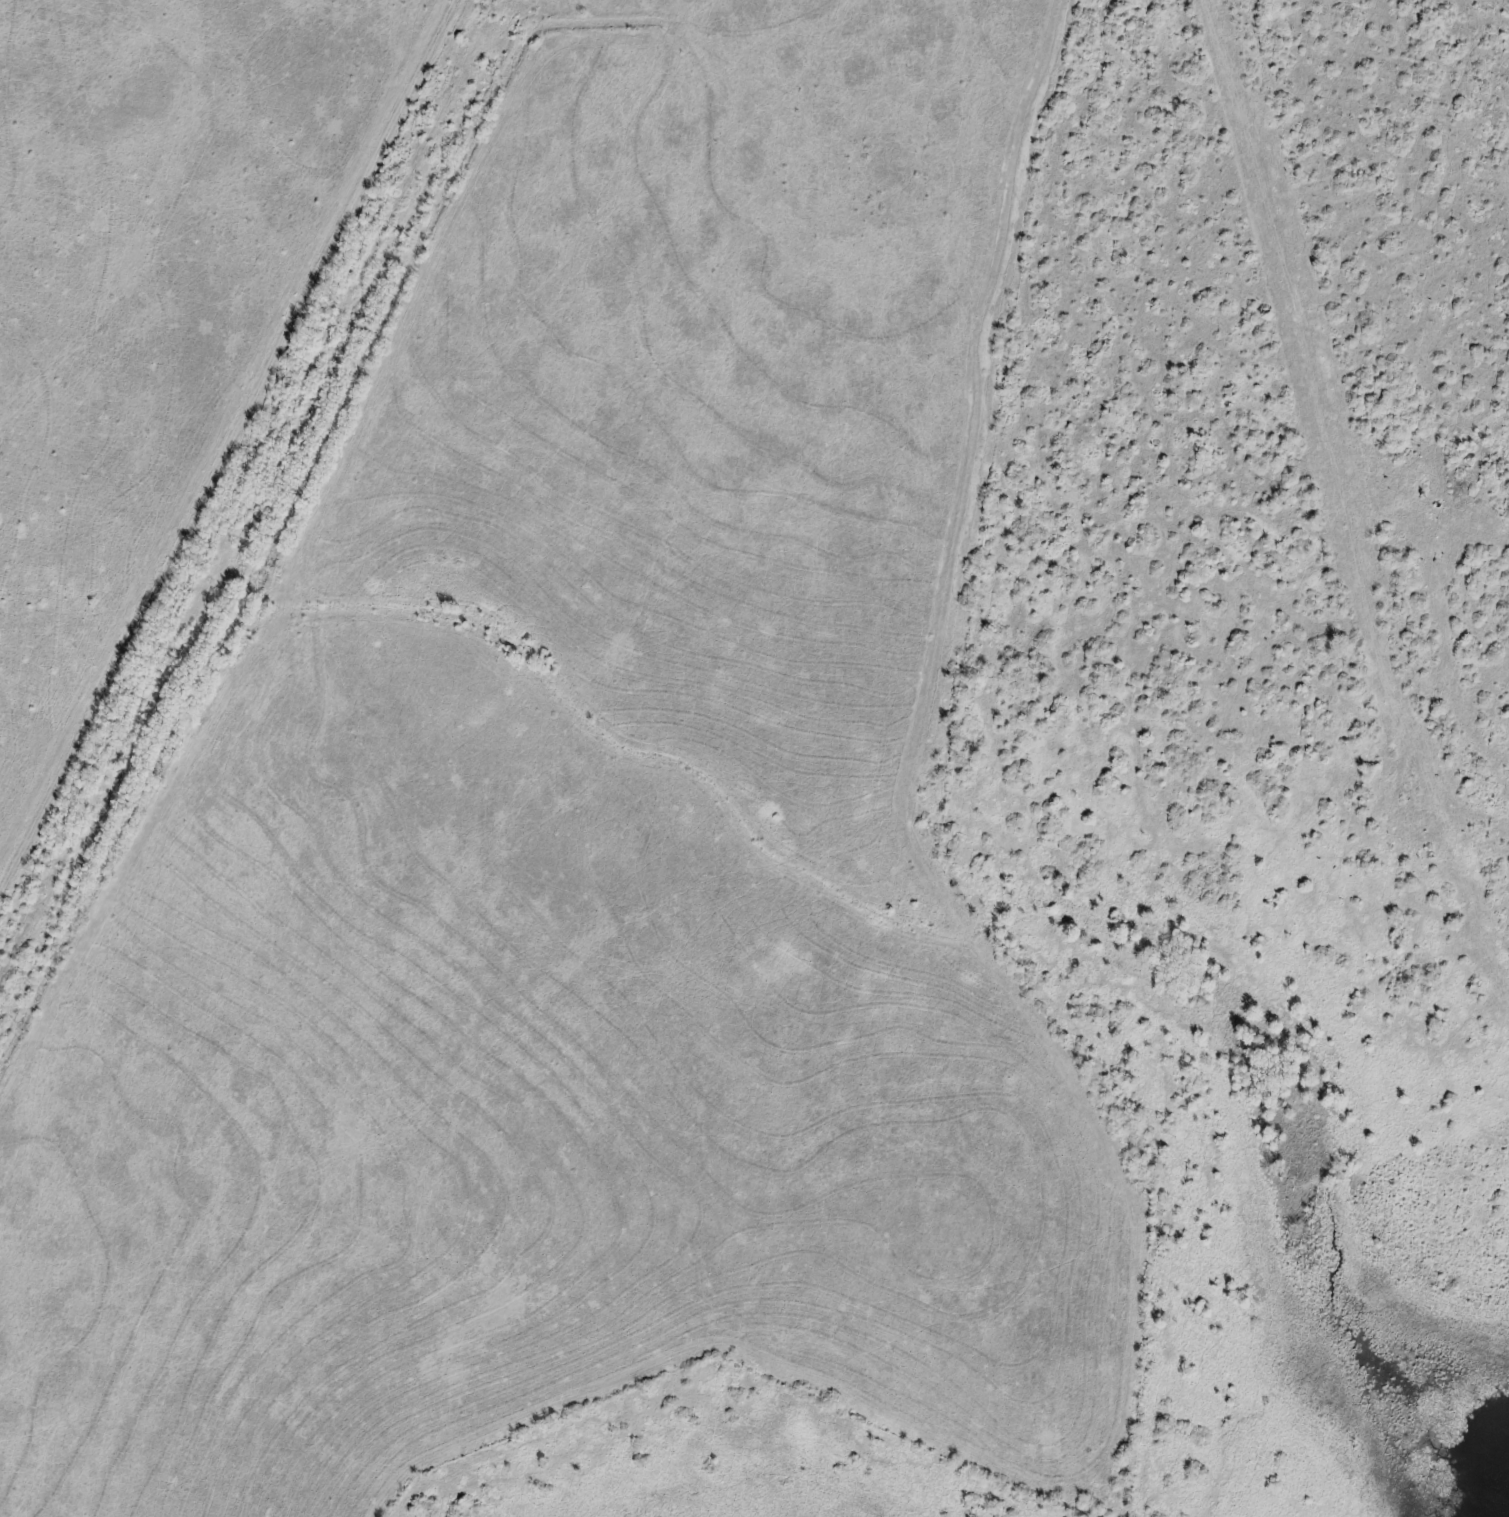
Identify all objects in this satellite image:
road: (1316, 390)
railway: (251, 491)

